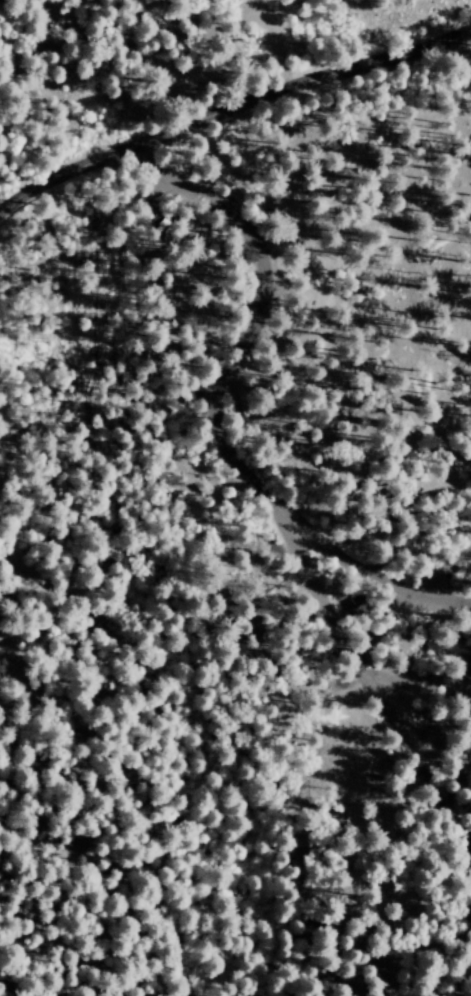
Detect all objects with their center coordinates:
road: (230, 106)
road: (224, 412)
road: (441, 566)

